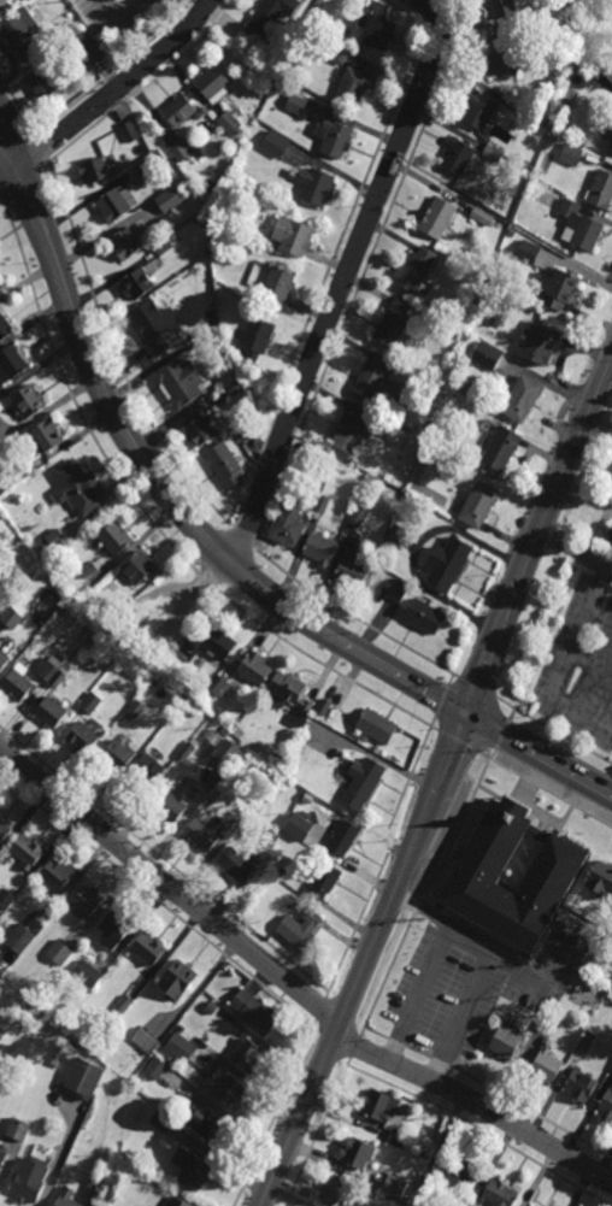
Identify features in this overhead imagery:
building: (502, 7)
building: (69, 11)
building: (267, 14)
building: (358, 14)
road: (117, 22)
building: (379, 31)
building: (20, 34)
building: (89, 49)
building: (505, 52)
building: (272, 54)
building: (335, 55)
road: (113, 69)
building: (49, 78)
building: (213, 82)
building: (354, 86)
road: (143, 88)
road: (117, 89)
road: (17, 102)
building: (567, 102)
building: (296, 105)
building: (478, 107)
building: (178, 110)
building: (200, 112)
building: (229, 123)
building: (131, 130)
building: (336, 139)
building: (276, 143)
building: (610, 143)
road: (41, 147)
road: (8, 148)
building: (180, 149)
building: (571, 152)
building: (493, 154)
building: (458, 155)
building: (155, 159)
road: (8, 163)
building: (225, 163)
building: (95, 169)
road: (8, 177)
building: (317, 186)
building: (601, 189)
building: (172, 196)
road: (2, 201)
building: (116, 202)
building: (478, 213)
building: (439, 217)
building: (235, 225)
building: (579, 225)
building: (293, 235)
building: (126, 242)
building: (165, 246)
building: (528, 252)
road: (333, 257)
building: (416, 269)
road: (364, 276)
road: (342, 280)
building: (137, 282)
building: (278, 283)
building: (558, 289)
building: (1, 292)
building: (504, 304)
building: (496, 318)
building: (394, 323)
building: (155, 324)
building: (5, 326)
building: (257, 337)
building: (541, 342)
road: (114, 355)
building: (487, 355)
building: (12, 363)
building: (180, 381)
building: (377, 382)
building: (436, 386)
building: (233, 389)
building: (522, 399)
building: (28, 400)
building: (353, 426)
building: (199, 430)
building: (245, 431)
building: (47, 435)
building: (502, 448)
building: (225, 465)
building: (31, 466)
building: (78, 488)
road: (171, 501)
building: (322, 504)
building: (478, 505)
building: (357, 516)
building: (289, 519)
road: (153, 523)
building: (398, 535)
building: (610, 535)
road: (241, 539)
building: (113, 540)
building: (51, 542)
building: (319, 549)
road: (577, 554)
building: (448, 564)
building: (355, 565)
building: (141, 567)
building: (90, 573)
building: (398, 590)
building: (61, 611)
building: (125, 611)
road: (353, 616)
building: (45, 617)
building: (425, 617)
building: (12, 618)
building: (5, 623)
building: (220, 643)
building: (4, 660)
road: (560, 663)
building: (254, 669)
building: (53, 670)
building: (18, 682)
building: (190, 682)
building: (217, 686)
building: (198, 693)
building: (290, 695)
road: (442, 702)
building: (90, 704)
building: (323, 706)
building: (166, 708)
building: (136, 710)
building: (51, 712)
traffic signals: (467, 716)
building: (376, 726)
road: (502, 734)
building: (84, 736)
road: (563, 737)
building: (311, 740)
road: (458, 741)
building: (302, 745)
building: (189, 748)
building: (224, 751)
building: (118, 754)
road: (539, 754)
road: (381, 759)
building: (151, 767)
building: (214, 770)
road: (410, 778)
building: (363, 783)
road: (439, 783)
road: (608, 784)
road: (546, 790)
building: (173, 804)
building: (300, 826)
building: (4, 829)
building: (229, 830)
building: (247, 831)
road: (458, 833)
building: (201, 835)
building: (343, 837)
road: (388, 842)
building: (27, 849)
building: (237, 864)
building: (283, 872)
building: (512, 875)
building: (53, 877)
building: (324, 877)
building: (601, 878)
road: (172, 887)
building: (10, 893)
building: (86, 899)
building: (295, 904)
road: (417, 907)
building: (561, 924)
building: (114, 925)
road: (357, 925)
building: (300, 926)
building: (18, 937)
building: (148, 947)
building: (58, 951)
road: (495, 957)
road: (388, 972)
building: (87, 973)
building: (177, 977)
road: (420, 994)
building: (122, 1005)
building: (204, 1008)
building: (254, 1010)
road: (460, 1017)
building: (548, 1028)
building: (180, 1031)
building: (145, 1040)
building: (507, 1040)
building: (585, 1041)
building: (71, 1047)
building: (181, 1047)
building: (189, 1049)
building: (247, 1053)
building: (546, 1065)
building: (611, 1066)
building: (157, 1067)
building: (84, 1076)
building: (582, 1084)
building: (229, 1088)
building: (607, 1104)
building: (381, 1105)
road: (475, 1105)
road: (276, 1112)
building: (163, 1120)
building: (208, 1123)
building: (18, 1128)
road: (317, 1133)
building: (396, 1137)
building: (357, 1152)
building: (116, 1153)
building: (2, 1160)
building: (192, 1167)
building: (461, 1167)
building: (29, 1179)
building: (96, 1184)
building: (424, 1184)
building: (395, 1187)
building: (336, 1193)
building: (500, 1193)
building: (67, 1198)
building: (180, 1201)
building: (467, 1204)
building: (529, 1205)

